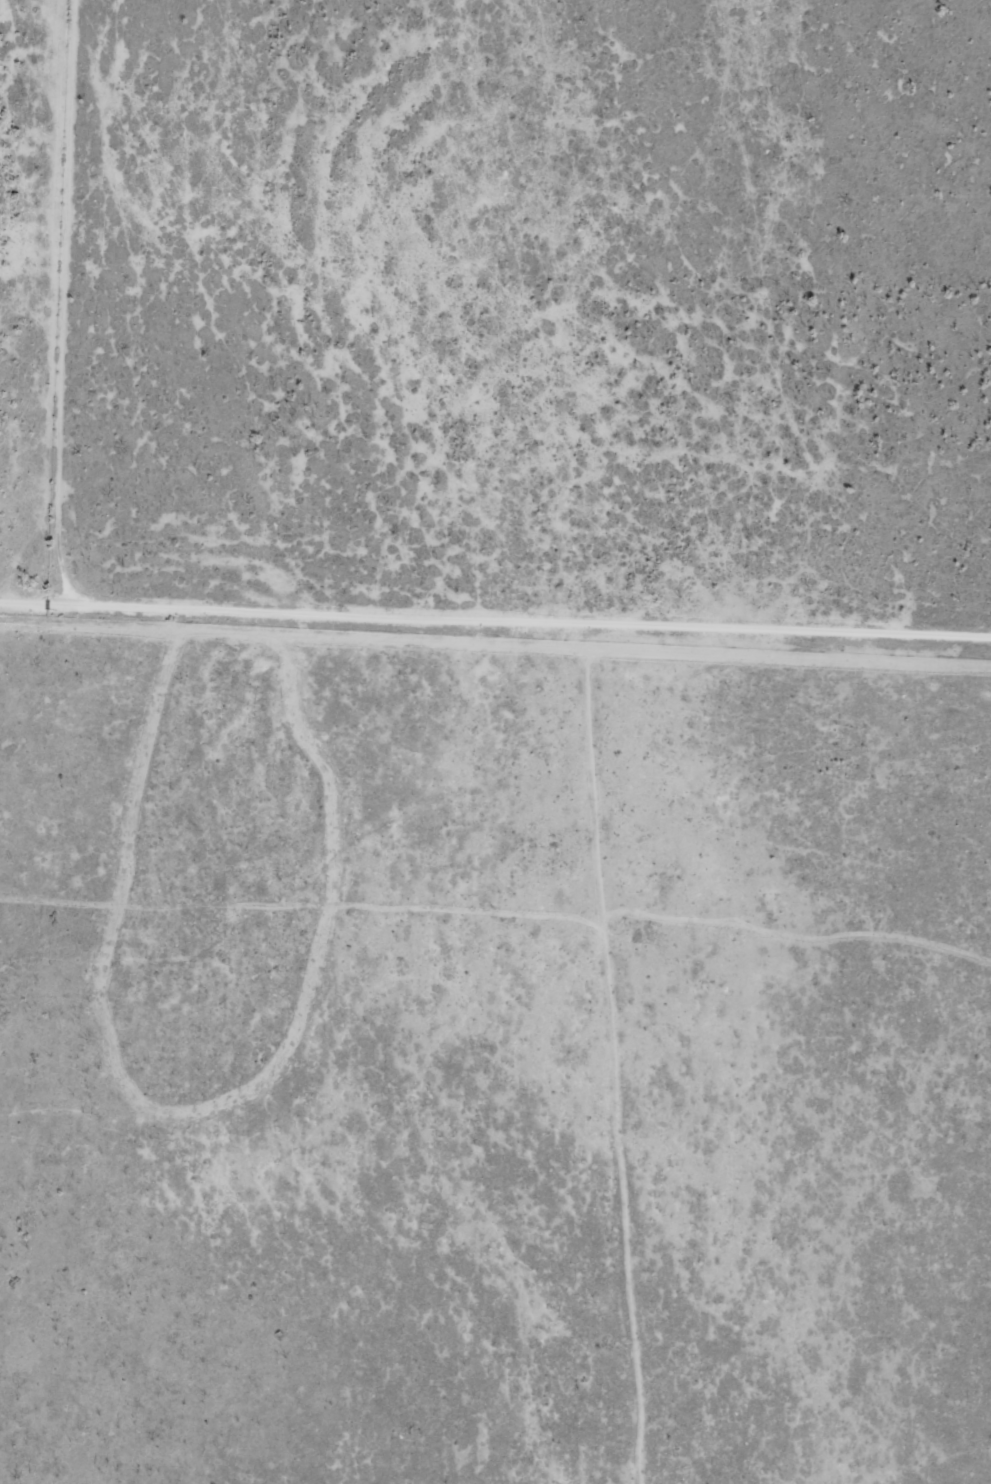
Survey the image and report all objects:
road: (94, 282)
road: (464, 310)
road: (485, 653)

